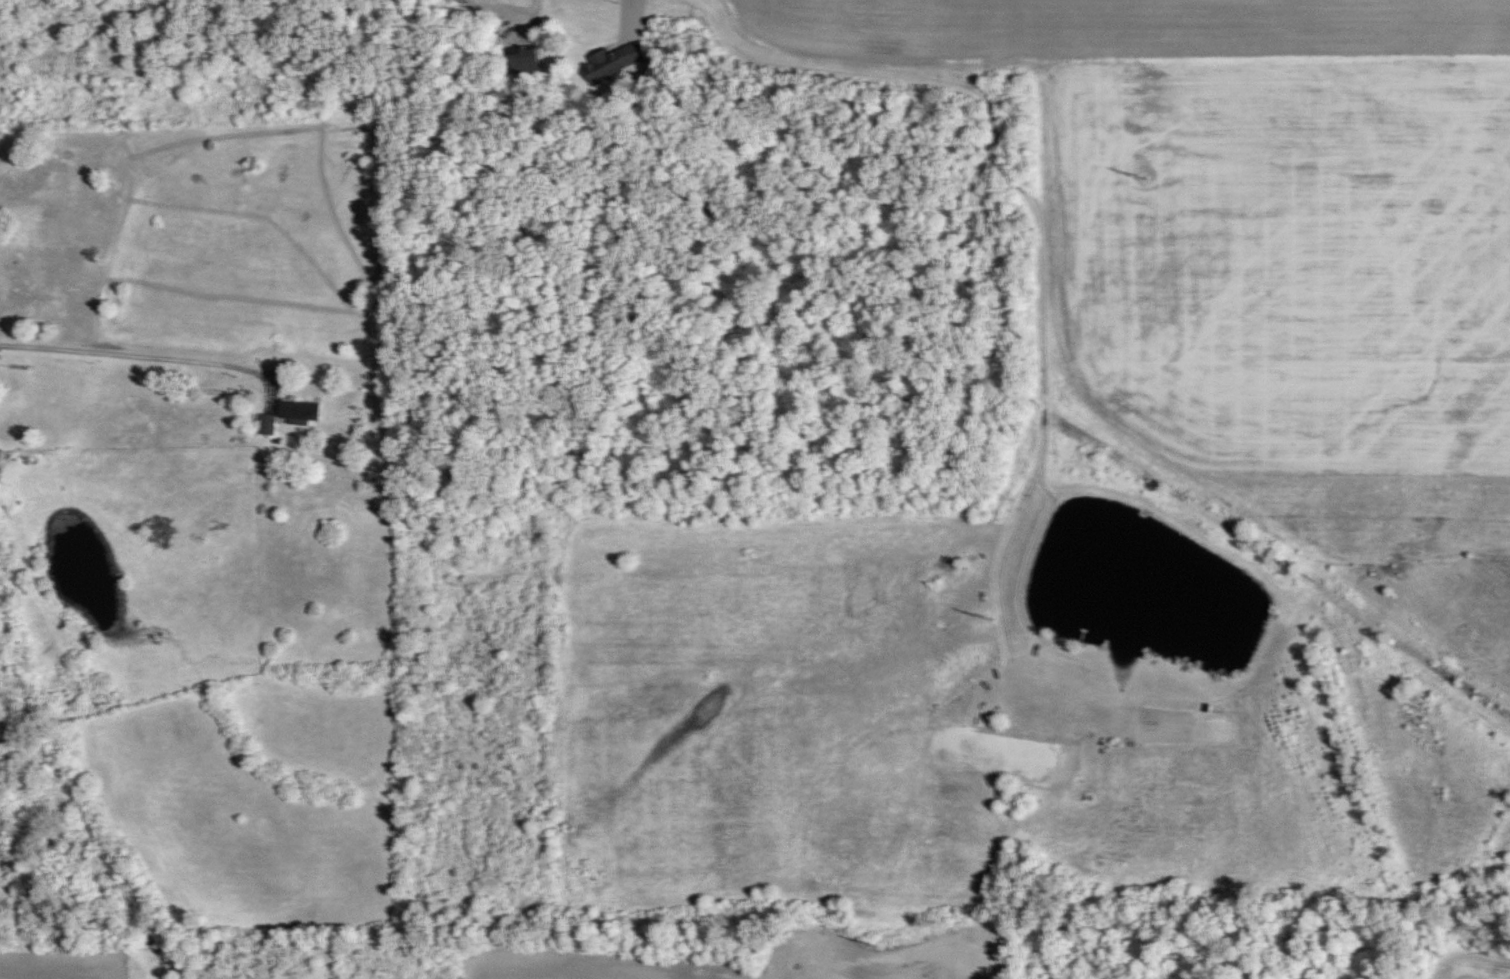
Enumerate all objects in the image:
building: (529, 58)
building: (610, 62)
power tower: (1146, 179)
road: (121, 356)
road: (268, 373)
building: (303, 410)
building: (269, 422)
building: (383, 481)
power tower: (996, 621)
power tower: (874, 946)

